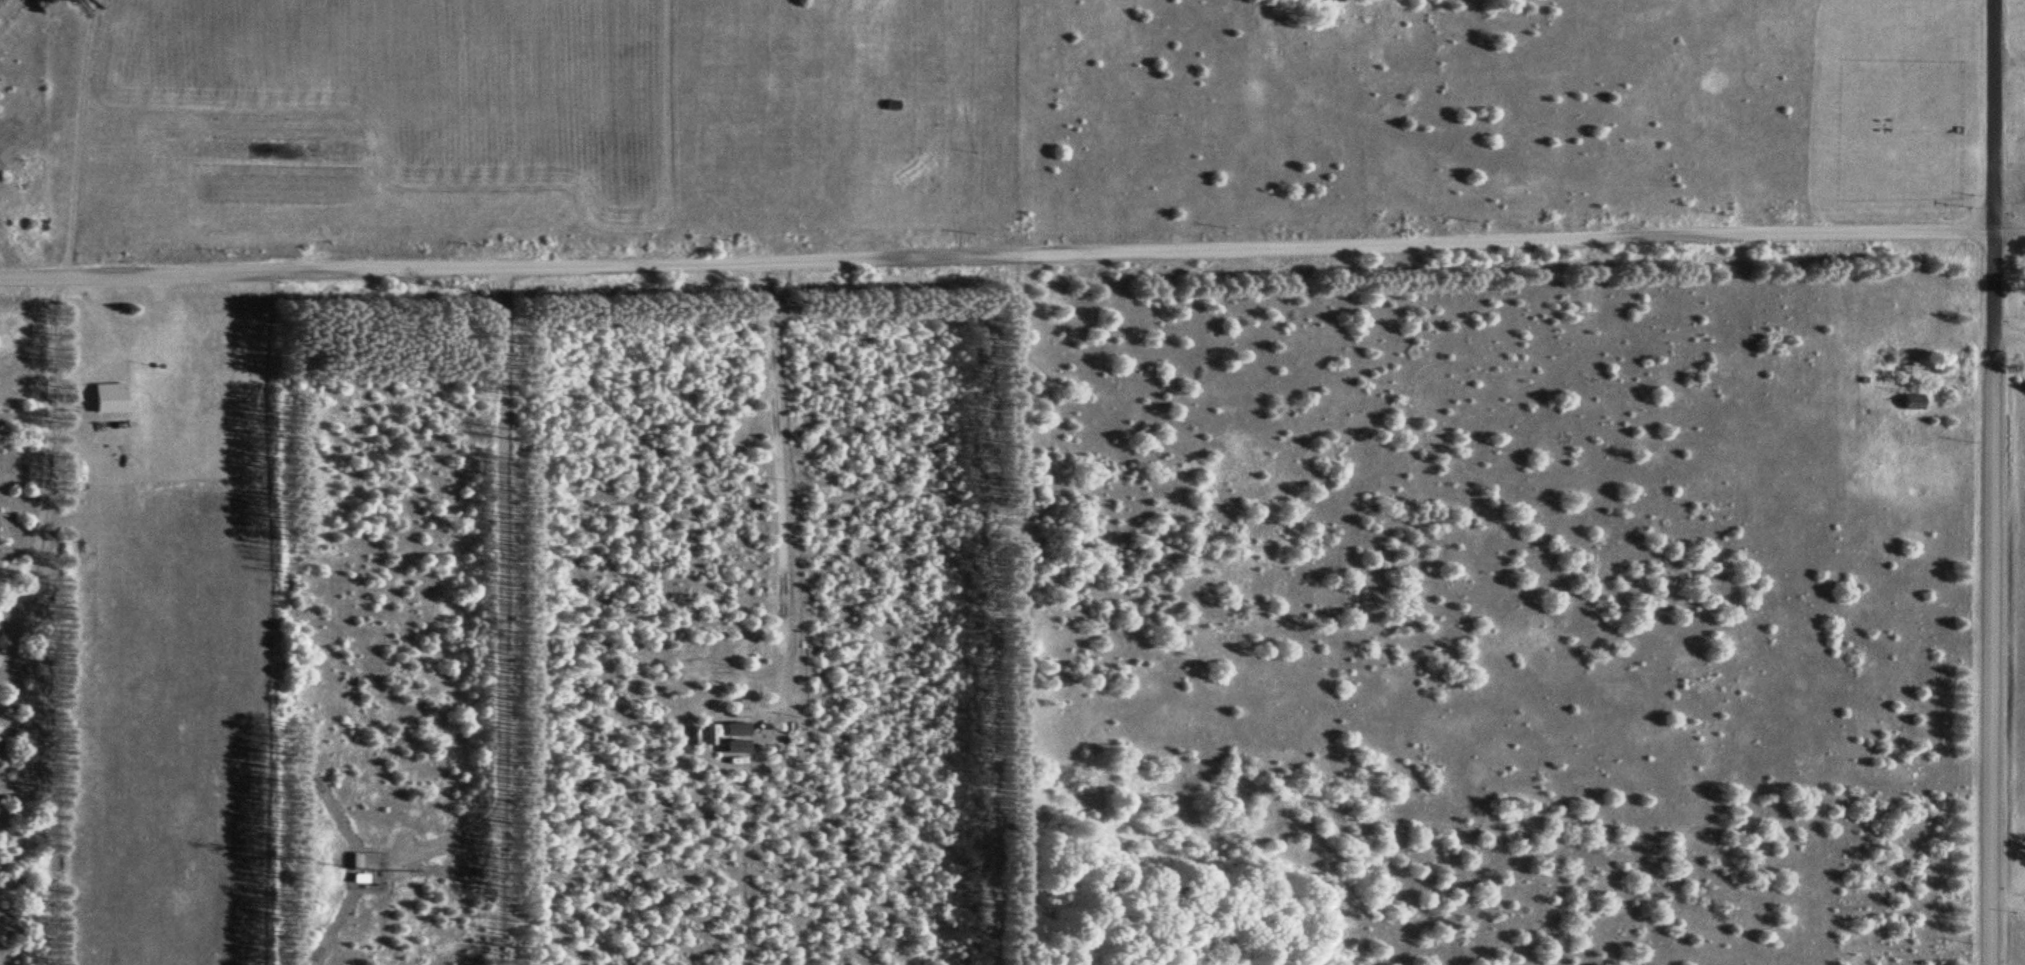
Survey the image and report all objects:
road: (1990, 180)
road: (1035, 245)
road: (23, 274)
road: (2007, 334)
building: (110, 399)
building: (1912, 402)
road: (46, 466)
road: (500, 581)
road: (1989, 663)
building: (363, 866)
road: (2007, 903)

